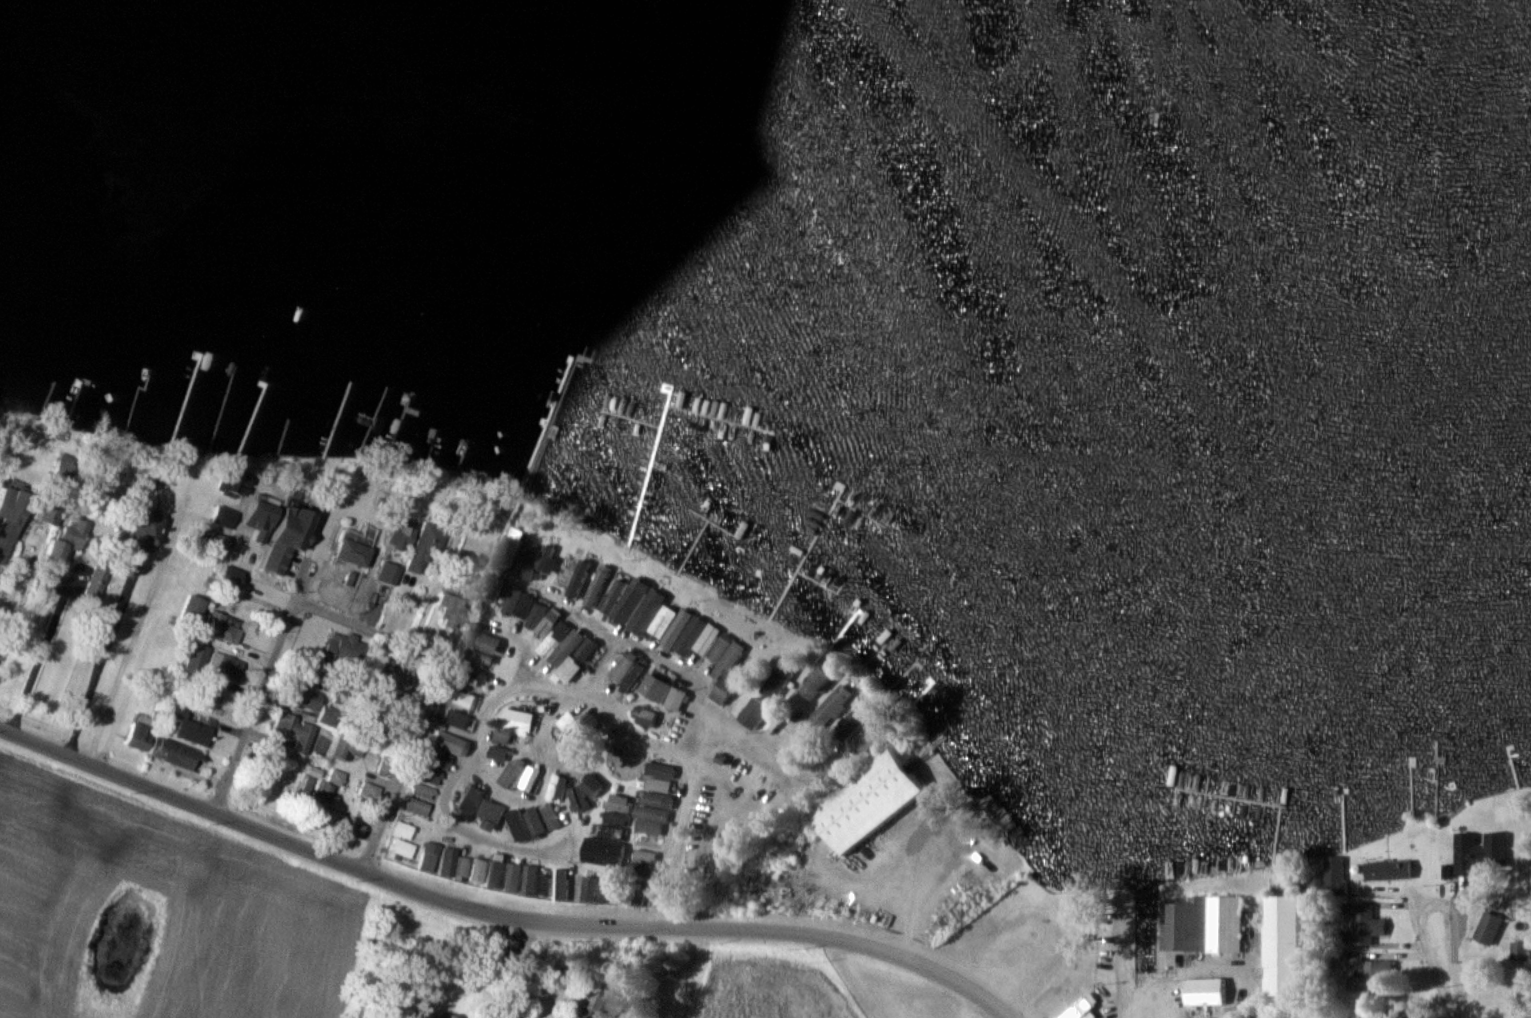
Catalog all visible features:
building: (62, 470)
building: (241, 482)
building: (16, 510)
building: (47, 514)
building: (253, 522)
building: (402, 530)
building: (73, 531)
building: (144, 533)
road: (325, 536)
building: (287, 537)
building: (217, 541)
building: (423, 546)
building: (354, 547)
building: (3, 553)
building: (533, 561)
building: (228, 578)
building: (386, 578)
building: (577, 578)
building: (595, 587)
road: (273, 592)
building: (612, 595)
building: (516, 598)
building: (190, 610)
building: (455, 610)
building: (537, 610)
building: (664, 620)
building: (222, 627)
road: (457, 627)
road: (136, 631)
road: (371, 632)
building: (485, 642)
building: (560, 643)
building: (586, 649)
building: (350, 651)
road: (104, 653)
building: (478, 659)
road: (604, 665)
building: (224, 666)
building: (726, 667)
building: (569, 669)
building: (625, 671)
road: (689, 676)
building: (779, 678)
building: (388, 679)
building: (816, 683)
building: (655, 687)
building: (210, 694)
building: (306, 697)
building: (676, 698)
building: (462, 699)
road: (257, 706)
building: (830, 707)
building: (328, 715)
building: (644, 716)
road: (623, 718)
building: (458, 720)
building: (519, 720)
building: (568, 722)
building: (848, 722)
building: (190, 728)
building: (293, 732)
building: (138, 737)
road: (751, 740)
building: (446, 741)
building: (347, 748)
building: (175, 754)
building: (437, 758)
road: (403, 766)
building: (660, 769)
building: (428, 775)
building: (336, 777)
building: (531, 779)
building: (555, 789)
building: (370, 790)
building: (423, 791)
building: (471, 799)
building: (868, 801)
building: (618, 803)
building: (653, 805)
building: (417, 807)
building: (489, 814)
building: (550, 816)
building: (615, 819)
building: (534, 821)
building: (517, 825)
building: (356, 829)
building: (403, 830)
building: (401, 848)
building: (602, 851)
building: (1480, 852)
building: (427, 860)
building: (446, 862)
building: (462, 867)
building: (478, 870)
building: (1389, 871)
building: (495, 874)
building: (520, 879)
building: (543, 884)
building: (559, 889)
building: (589, 889)
road: (1425, 896)
road: (495, 915)
building: (1364, 924)
building: (1202, 925)
building: (1489, 928)
building: (1282, 950)
road: (517, 970)
building: (1372, 977)
road: (1122, 985)
building: (1205, 991)
road: (1148, 1000)
building: (600, 1005)
building: (1082, 1008)
road: (1458, 1014)

